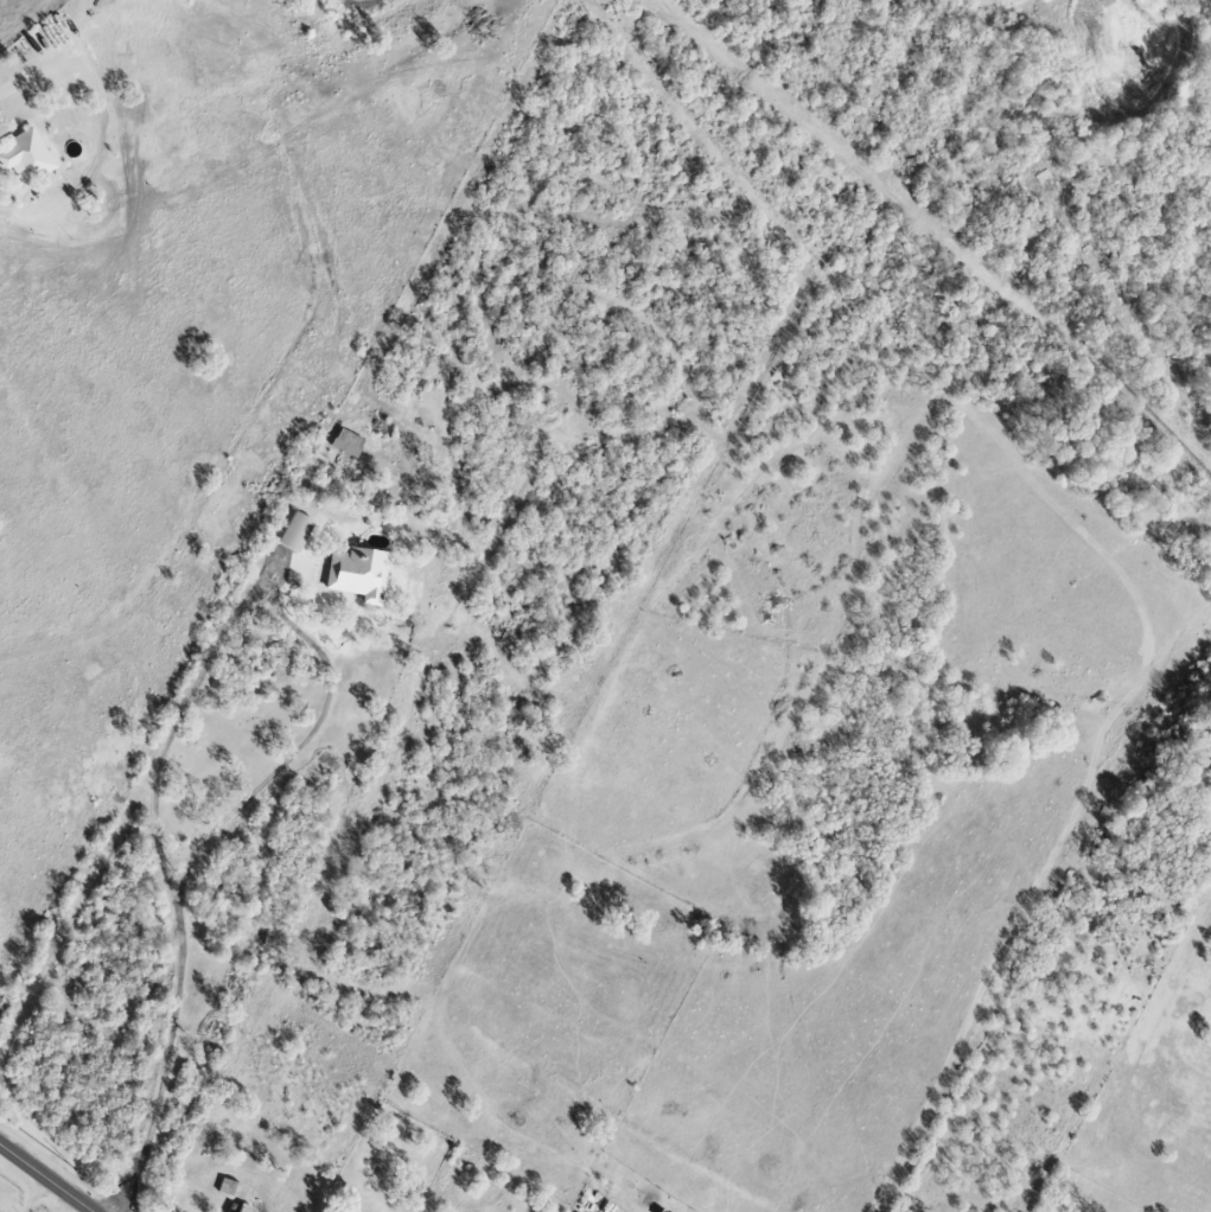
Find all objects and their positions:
building: (27, 158)
building: (350, 442)
building: (298, 531)
building: (361, 573)
road: (282, 624)
road: (168, 1057)
road: (46, 1178)
building: (229, 1187)
road: (34, 1195)
road: (70, 1205)
building: (247, 1206)

